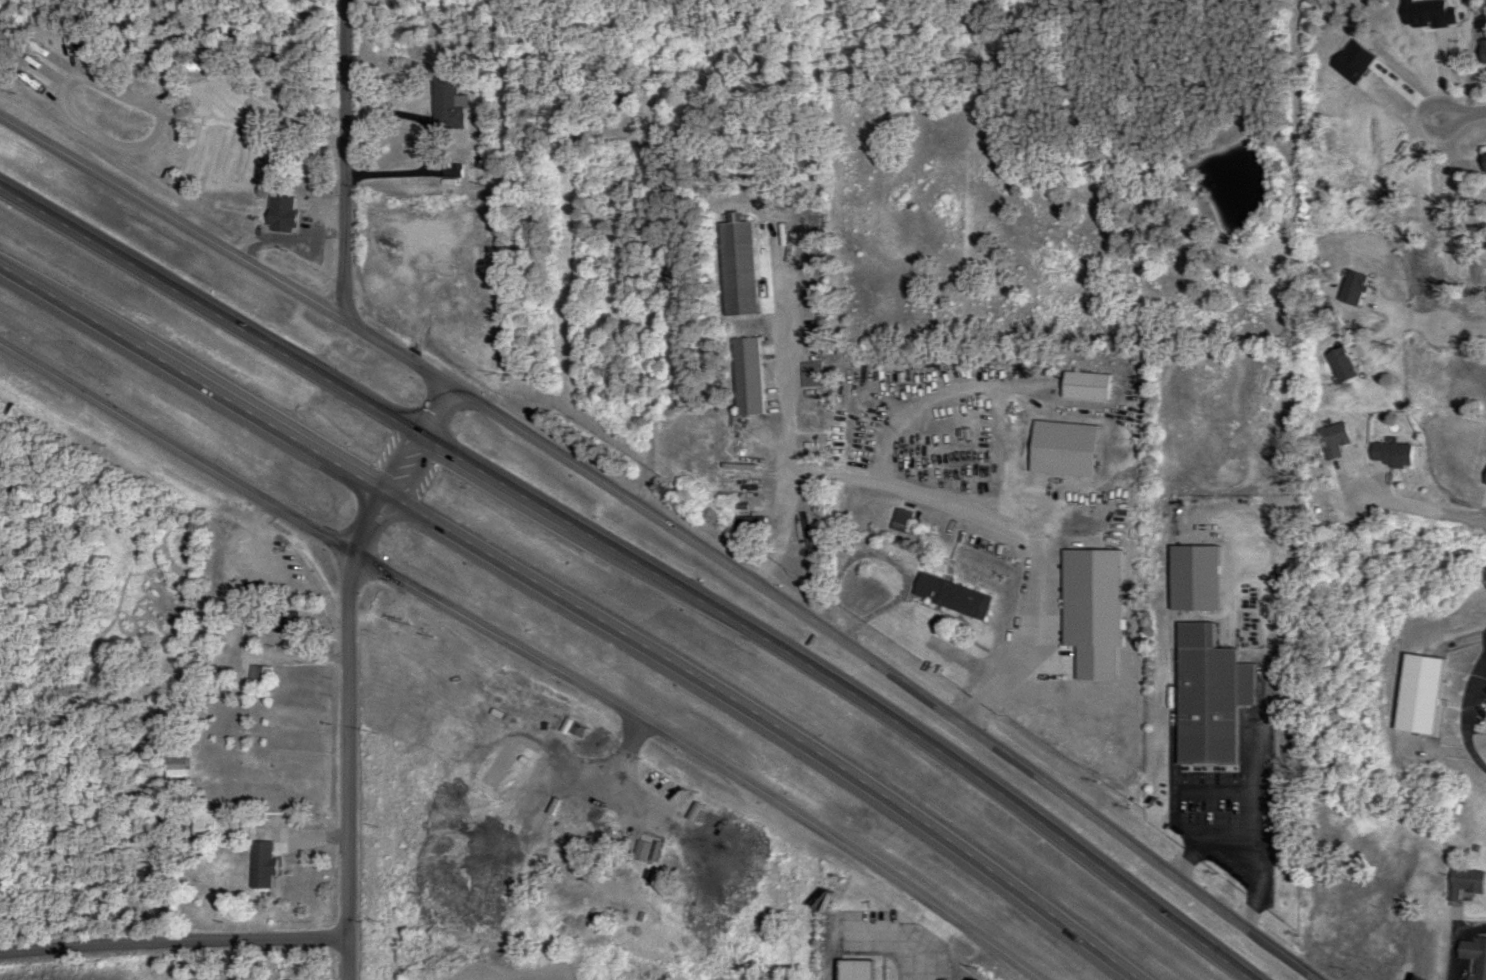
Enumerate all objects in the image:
road: (162, 48)
building: (637, 82)
building: (189, 100)
building: (444, 104)
road: (1464, 114)
road: (87, 137)
building: (231, 152)
building: (1483, 159)
road: (344, 160)
building: (279, 215)
building: (735, 267)
building: (984, 368)
building: (745, 376)
building: (1083, 386)
building: (889, 392)
road: (1220, 412)
building: (942, 427)
building: (941, 451)
building: (959, 493)
building: (1060, 505)
building: (899, 519)
road: (672, 526)
building: (748, 527)
building: (981, 547)
building: (1076, 556)
road: (638, 565)
building: (1078, 575)
building: (949, 596)
building: (1075, 600)
road: (578, 606)
building: (231, 612)
building: (282, 622)
road: (526, 652)
building: (1048, 656)
road: (349, 669)
building: (215, 673)
building: (257, 676)
building: (1415, 694)
road: (1468, 715)
building: (165, 818)
building: (201, 825)
road: (1232, 829)
building: (260, 865)
building: (1271, 876)
building: (1463, 882)
building: (1324, 901)
road: (1380, 911)
building: (1427, 915)
road: (1457, 938)
road: (174, 944)
building: (1473, 956)
building: (1380, 957)
building: (852, 970)

